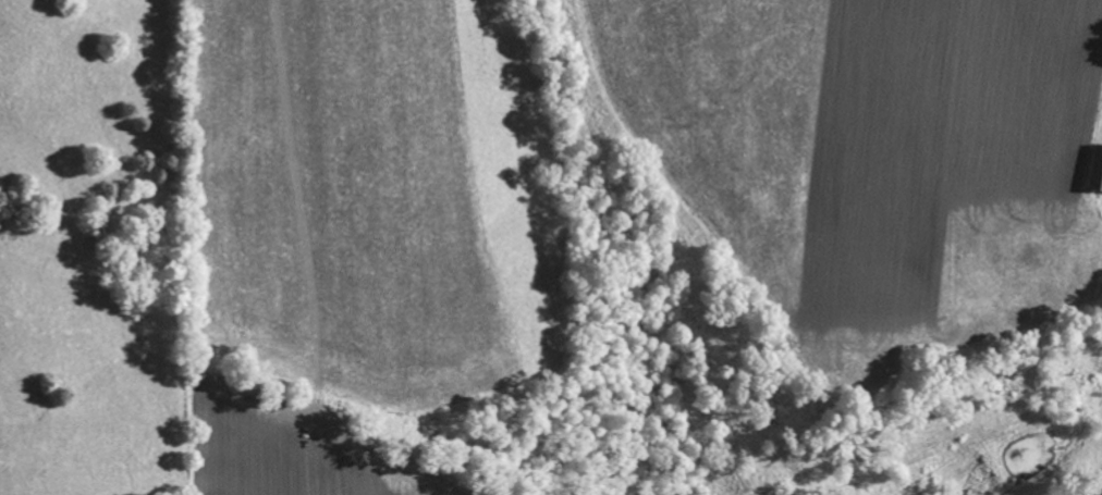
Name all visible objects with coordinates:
building: (1097, 170)

